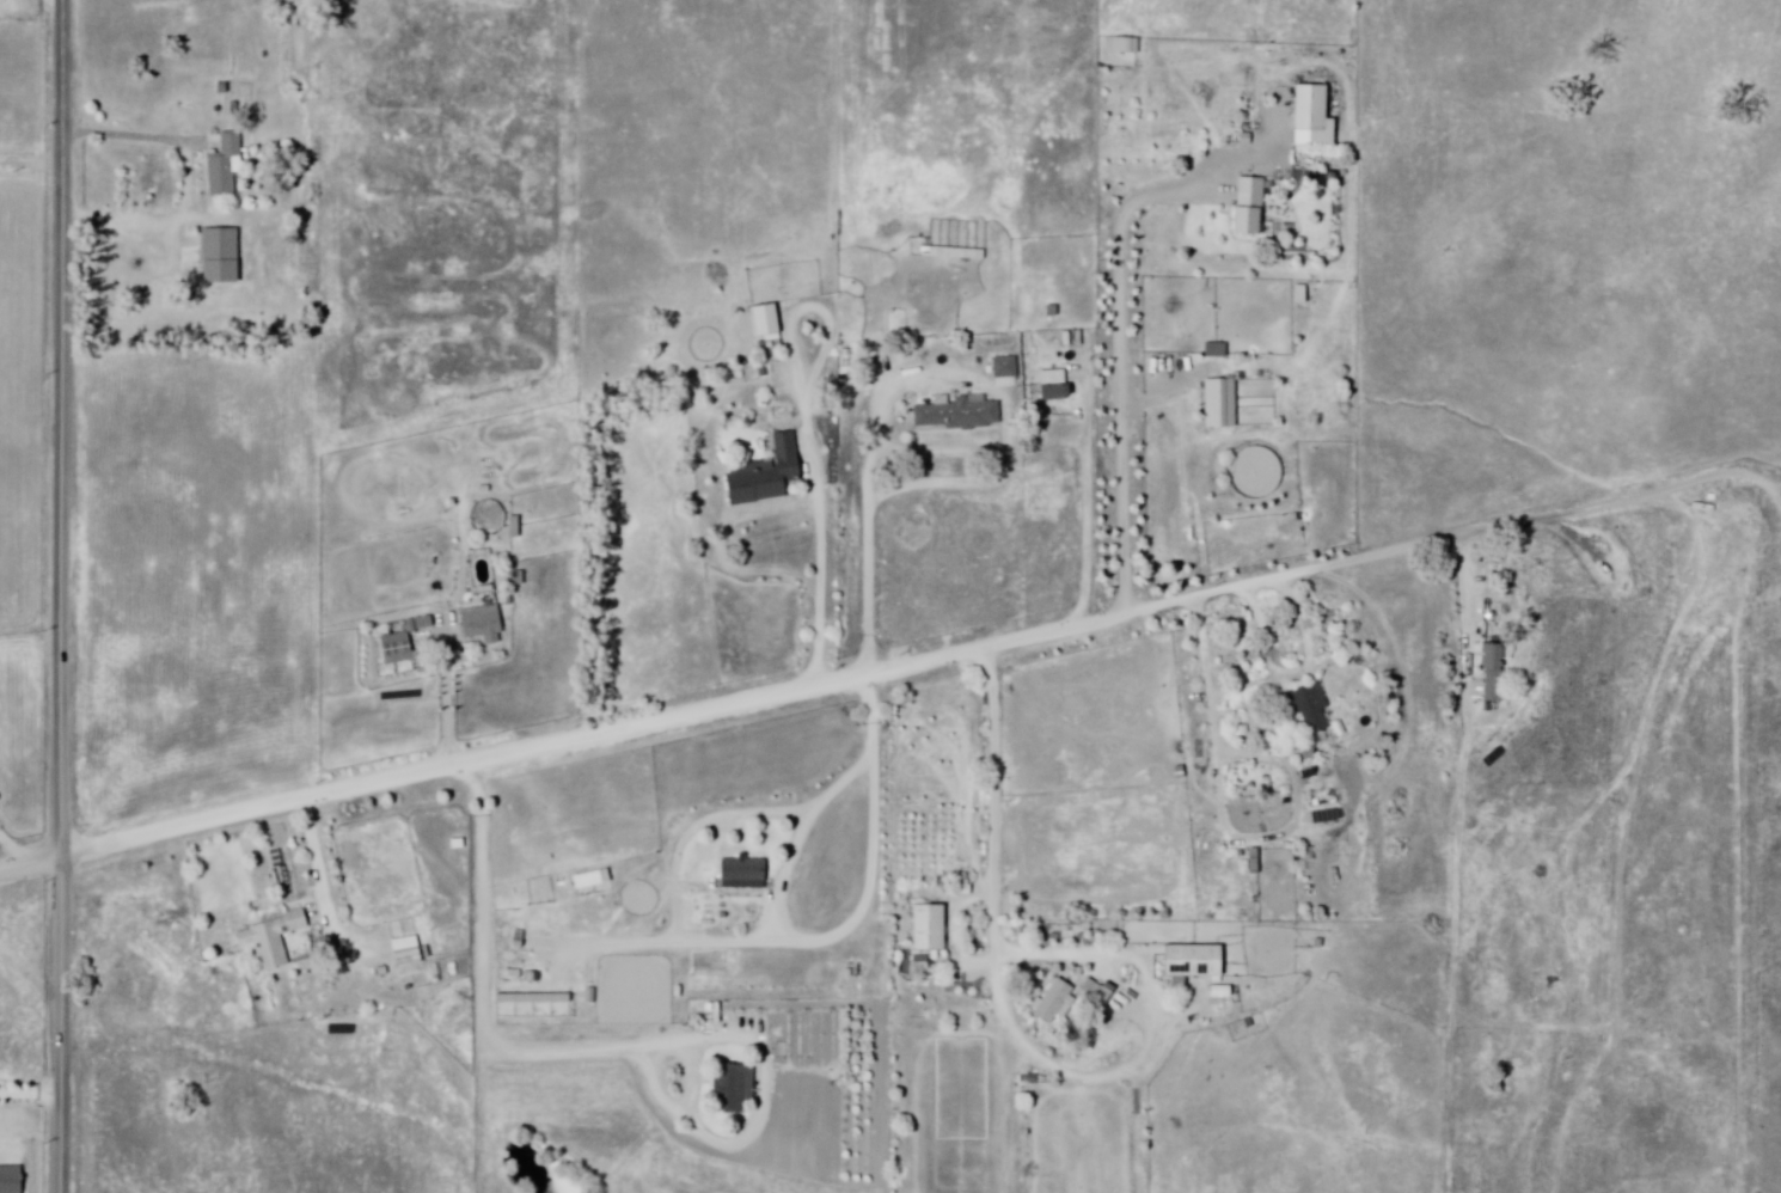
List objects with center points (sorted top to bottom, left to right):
building: (1310, 108)
road: (128, 135)
building: (226, 163)
building: (1249, 208)
building: (222, 255)
building: (766, 320)
building: (1217, 350)
road: (1124, 362)
building: (1006, 368)
building: (1054, 385)
building: (1222, 403)
building: (961, 415)
building: (765, 476)
road: (1759, 479)
building: (516, 528)
road: (874, 533)
road: (821, 562)
building: (483, 571)
road: (1467, 588)
road: (59, 595)
building: (421, 624)
building: (484, 625)
building: (397, 650)
building: (1497, 673)
road: (867, 674)
road: (1297, 674)
building: (1306, 705)
road: (446, 709)
building: (459, 844)
road: (10, 849)
road: (318, 859)
building: (745, 873)
road: (875, 892)
building: (929, 929)
building: (274, 940)
building: (406, 944)
building: (410, 960)
building: (1194, 965)
building: (454, 969)
building: (384, 972)
road: (488, 983)
building: (1098, 992)
building: (533, 999)
building: (1055, 1003)
road: (1016, 1035)
building: (735, 1088)
road: (29, 1095)
building: (11, 1180)

